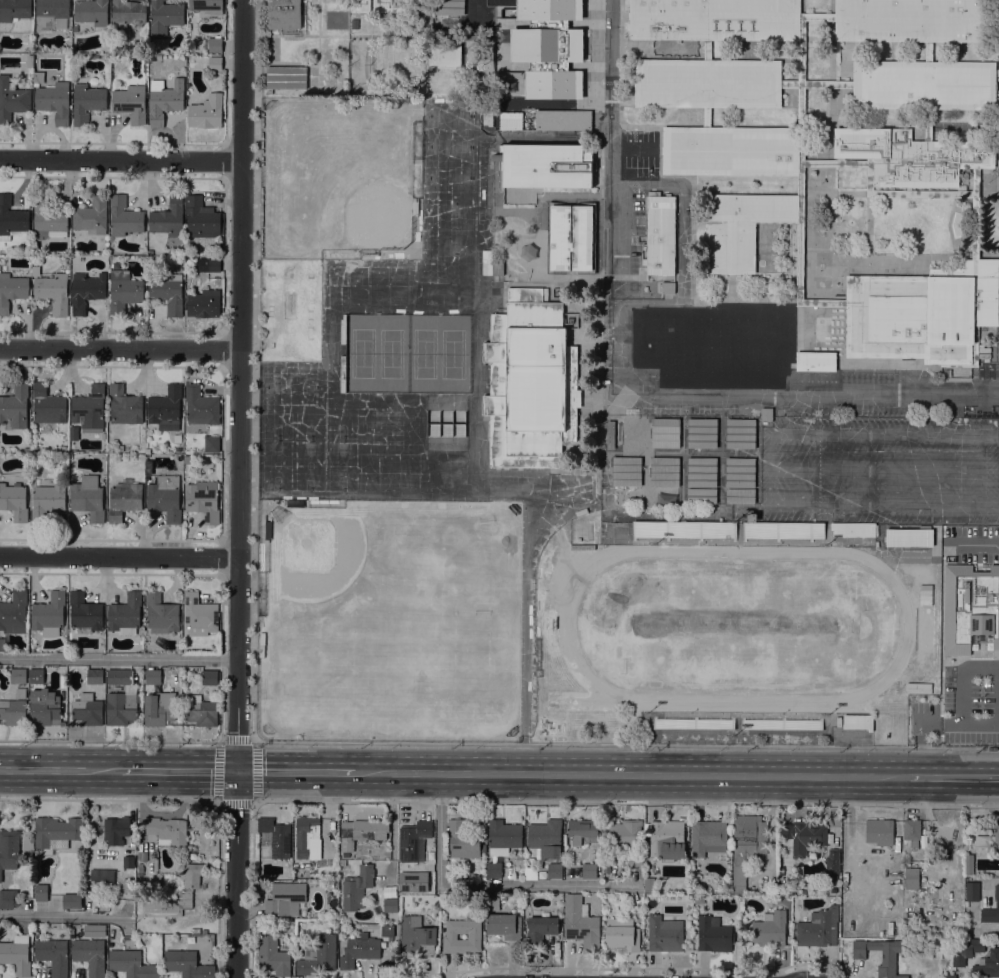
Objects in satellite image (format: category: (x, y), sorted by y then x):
building: (207, 6)
building: (360, 6)
building: (400, 6)
building: (449, 7)
building: (548, 9)
building: (14, 10)
building: (91, 11)
building: (50, 13)
building: (127, 13)
building: (283, 14)
building: (164, 17)
road: (805, 18)
building: (713, 20)
building: (909, 20)
building: (422, 21)
building: (75, 28)
building: (545, 30)
building: (67, 31)
building: (576, 31)
building: (215, 44)
building: (707, 50)
building: (927, 52)
building: (445, 56)
building: (30, 61)
building: (215, 64)
building: (556, 69)
building: (587, 70)
building: (38, 77)
building: (286, 77)
road: (927, 80)
building: (707, 84)
road: (816, 84)
building: (520, 90)
building: (12, 100)
building: (165, 100)
building: (54, 101)
building: (87, 103)
building: (130, 104)
building: (481, 111)
building: (206, 112)
building: (705, 117)
building: (563, 120)
building: (510, 121)
building: (927, 124)
building: (471, 126)
road: (706, 129)
road: (998, 140)
building: (910, 156)
road: (121, 159)
building: (546, 166)
road: (801, 176)
road: (869, 176)
building: (893, 190)
road: (889, 193)
road: (988, 194)
road: (975, 212)
building: (12, 216)
building: (91, 216)
building: (124, 217)
building: (168, 218)
building: (201, 218)
building: (48, 219)
building: (660, 234)
building: (571, 238)
road: (899, 257)
building: (212, 264)
building: (35, 267)
building: (497, 269)
building: (667, 288)
building: (12, 291)
building: (53, 291)
building: (86, 291)
building: (124, 291)
building: (168, 293)
road: (823, 303)
building: (204, 304)
building: (570, 319)
road: (120, 349)
park: (407, 354)
building: (815, 362)
building: (678, 368)
building: (719, 380)
building: (530, 382)
road: (621, 382)
building: (48, 405)
building: (123, 405)
building: (201, 406)
building: (89, 407)
building: (15, 408)
building: (165, 409)
building: (766, 414)
building: (665, 433)
building: (702, 433)
building: (740, 433)
building: (610, 434)
building: (177, 439)
road: (772, 440)
building: (212, 444)
building: (25, 450)
road: (971, 469)
building: (665, 471)
building: (627, 472)
building: (702, 472)
building: (740, 473)
road: (239, 488)
building: (702, 495)
building: (740, 496)
building: (88, 498)
building: (165, 498)
building: (203, 500)
building: (14, 501)
building: (47, 501)
building: (124, 501)
road: (855, 503)
road: (985, 505)
building: (751, 518)
building: (683, 529)
building: (852, 529)
building: (783, 530)
building: (908, 536)
road: (119, 556)
building: (970, 607)
park: (379, 610)
building: (14, 613)
building: (84, 613)
building: (49, 614)
building: (161, 614)
building: (125, 615)
building: (199, 615)
road: (527, 617)
park: (737, 624)
track: (736, 625)
stadium: (735, 631)
building: (2, 644)
road: (119, 658)
building: (557, 669)
building: (18, 676)
building: (36, 676)
building: (95, 676)
building: (152, 677)
building: (209, 677)
road: (960, 679)
building: (121, 700)
track: (607, 701)
building: (44, 708)
building: (14, 709)
building: (88, 710)
building: (159, 710)
building: (202, 712)
building: (838, 722)
building: (858, 722)
road: (937, 724)
road: (110, 742)
road: (255, 742)
road: (220, 743)
road: (60, 770)
road: (178, 772)
traffic signals: (237, 773)
road: (294, 773)
road: (630, 776)
road: (954, 778)
road: (109, 799)
road: (627, 803)
building: (582, 830)
building: (116, 831)
building: (56, 832)
building: (168, 832)
building: (362, 832)
building: (879, 832)
building: (912, 832)
building: (996, 832)
building: (305, 835)
building: (276, 837)
building: (503, 837)
building: (708, 837)
building: (807, 837)
building: (545, 839)
building: (744, 839)
building: (462, 840)
building: (667, 840)
building: (413, 841)
building: (624, 841)
building: (982, 841)
building: (9, 850)
building: (142, 856)
building: (128, 862)
building: (342, 863)
building: (832, 863)
building: (968, 864)
building: (140, 870)
building: (494, 870)
building: (554, 871)
building: (589, 871)
building: (530, 873)
building: (102, 877)
building: (911, 878)
building: (738, 879)
building: (407, 881)
building: (831, 883)
building: (330, 885)
building: (648, 885)
road: (480, 886)
building: (356, 887)
building: (189, 891)
building: (972, 891)
building: (41, 893)
building: (8, 899)
building: (285, 899)
building: (72, 901)
building: (390, 905)
building: (991, 909)
road: (61, 916)
building: (580, 923)
building: (504, 926)
building: (818, 928)
building: (540, 929)
building: (387, 930)
building: (769, 930)
building: (622, 935)
building: (663, 935)
building: (713, 935)
building: (449, 937)
building: (417, 938)
building: (360, 950)
building: (966, 950)
building: (881, 954)
building: (53, 955)
building: (90, 955)
building: (16, 956)
building: (272, 956)
building: (318, 956)
building: (132, 964)
building: (187, 964)
building: (987, 965)
building: (949, 975)

